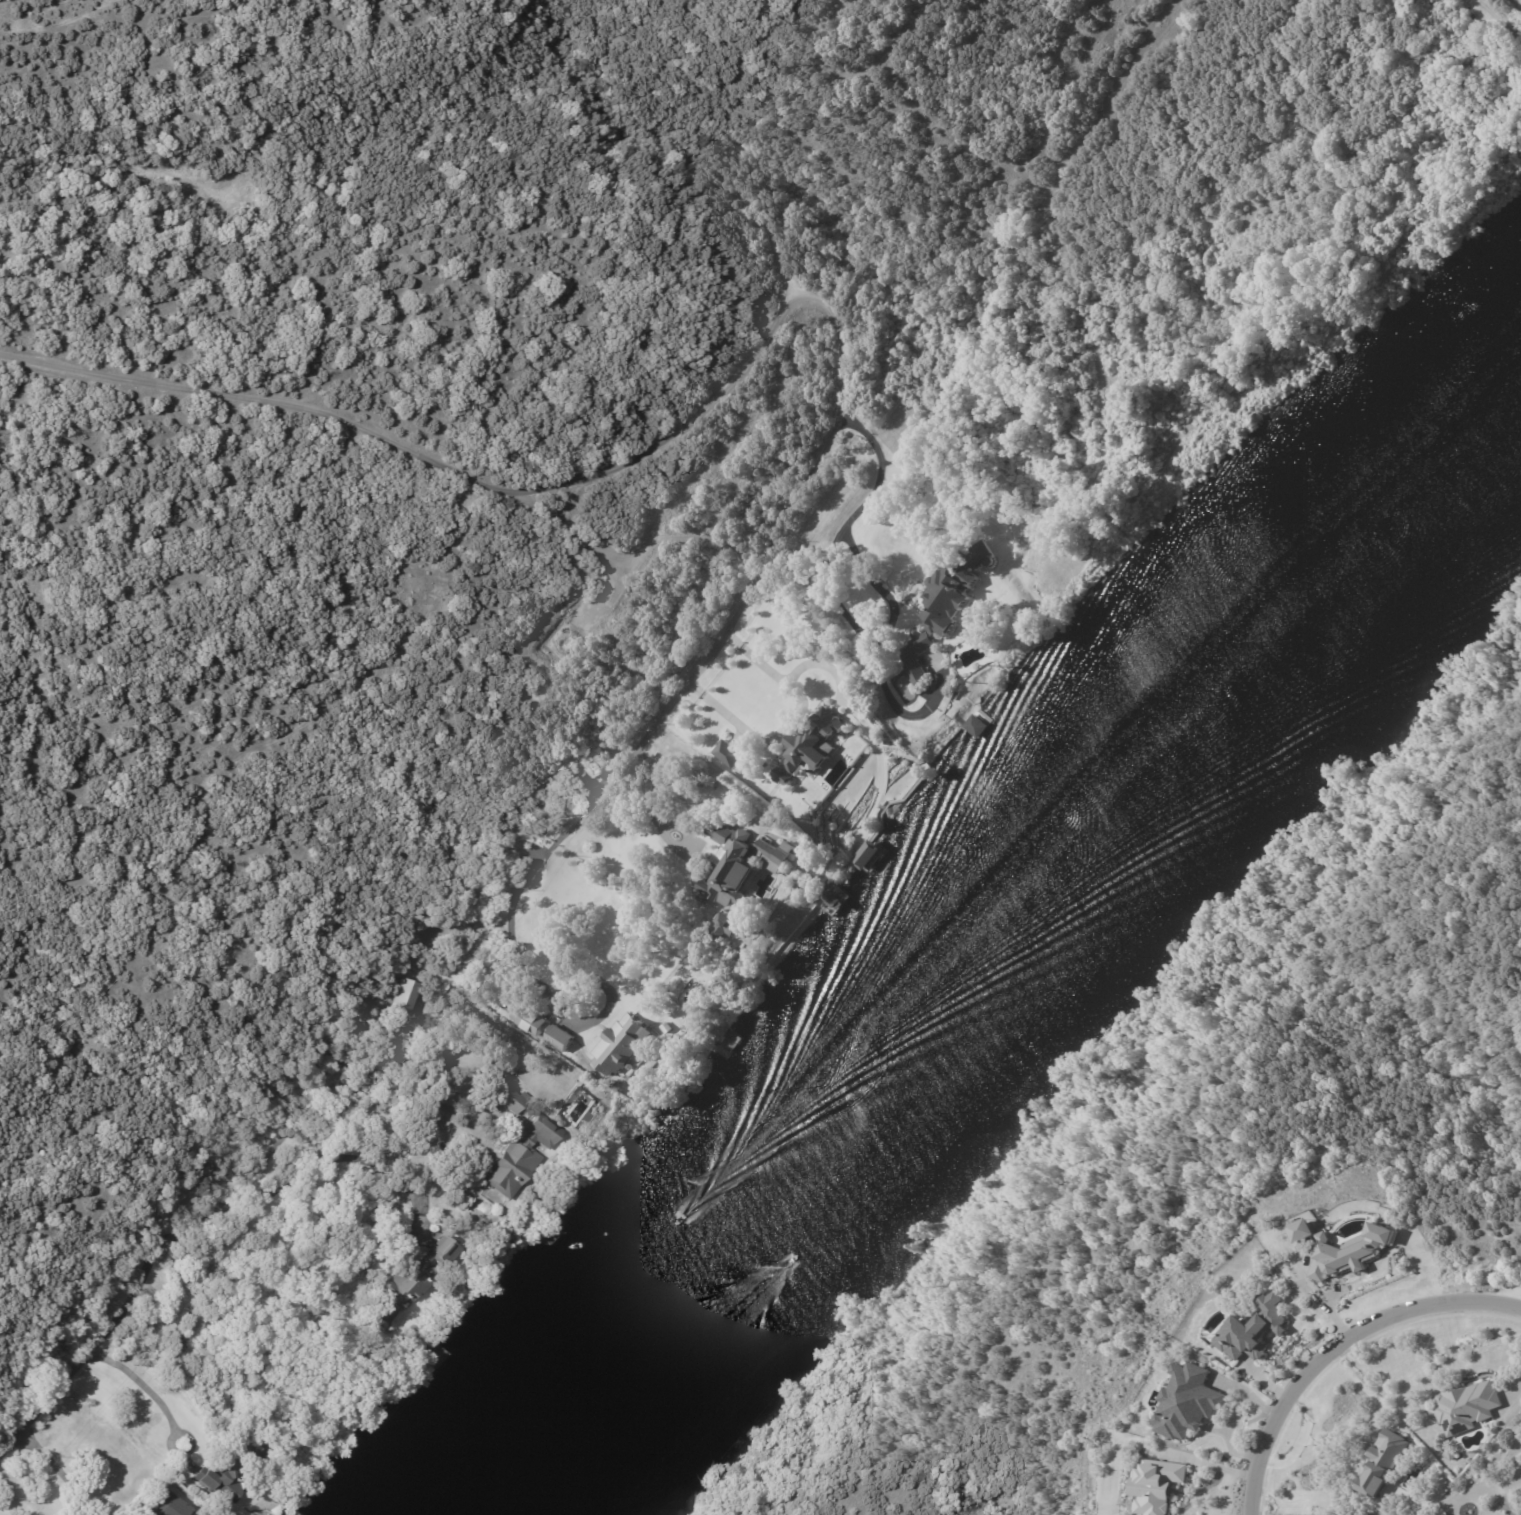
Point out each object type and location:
road: (1520, 0)
road: (789, 305)
building: (987, 475)
road: (569, 501)
road: (826, 549)
road: (635, 551)
road: (878, 588)
building: (944, 605)
building: (563, 643)
road: (783, 720)
building: (973, 725)
building: (807, 745)
building: (728, 755)
road: (641, 794)
building: (865, 854)
building: (714, 862)
building: (738, 863)
building: (724, 926)
river: (983, 936)
building: (412, 992)
building: (544, 1027)
building: (669, 1028)
building: (625, 1044)
building: (349, 1055)
building: (513, 1098)
road: (322, 1103)
building: (519, 1120)
building: (522, 1158)
road: (321, 1164)
building: (1300, 1228)
building: (1348, 1252)
building: (417, 1278)
building: (1487, 1289)
road: (129, 1298)
building: (1252, 1330)
road: (1334, 1346)
building: (381, 1356)
road: (142, 1387)
building: (1186, 1401)
road: (1509, 1401)
building: (1465, 1405)
building: (1450, 1454)
building: (1382, 1462)
road: (1208, 1463)
road: (61, 1475)
building: (225, 1479)
building: (1155, 1485)
road: (1493, 1492)
building: (172, 1506)

